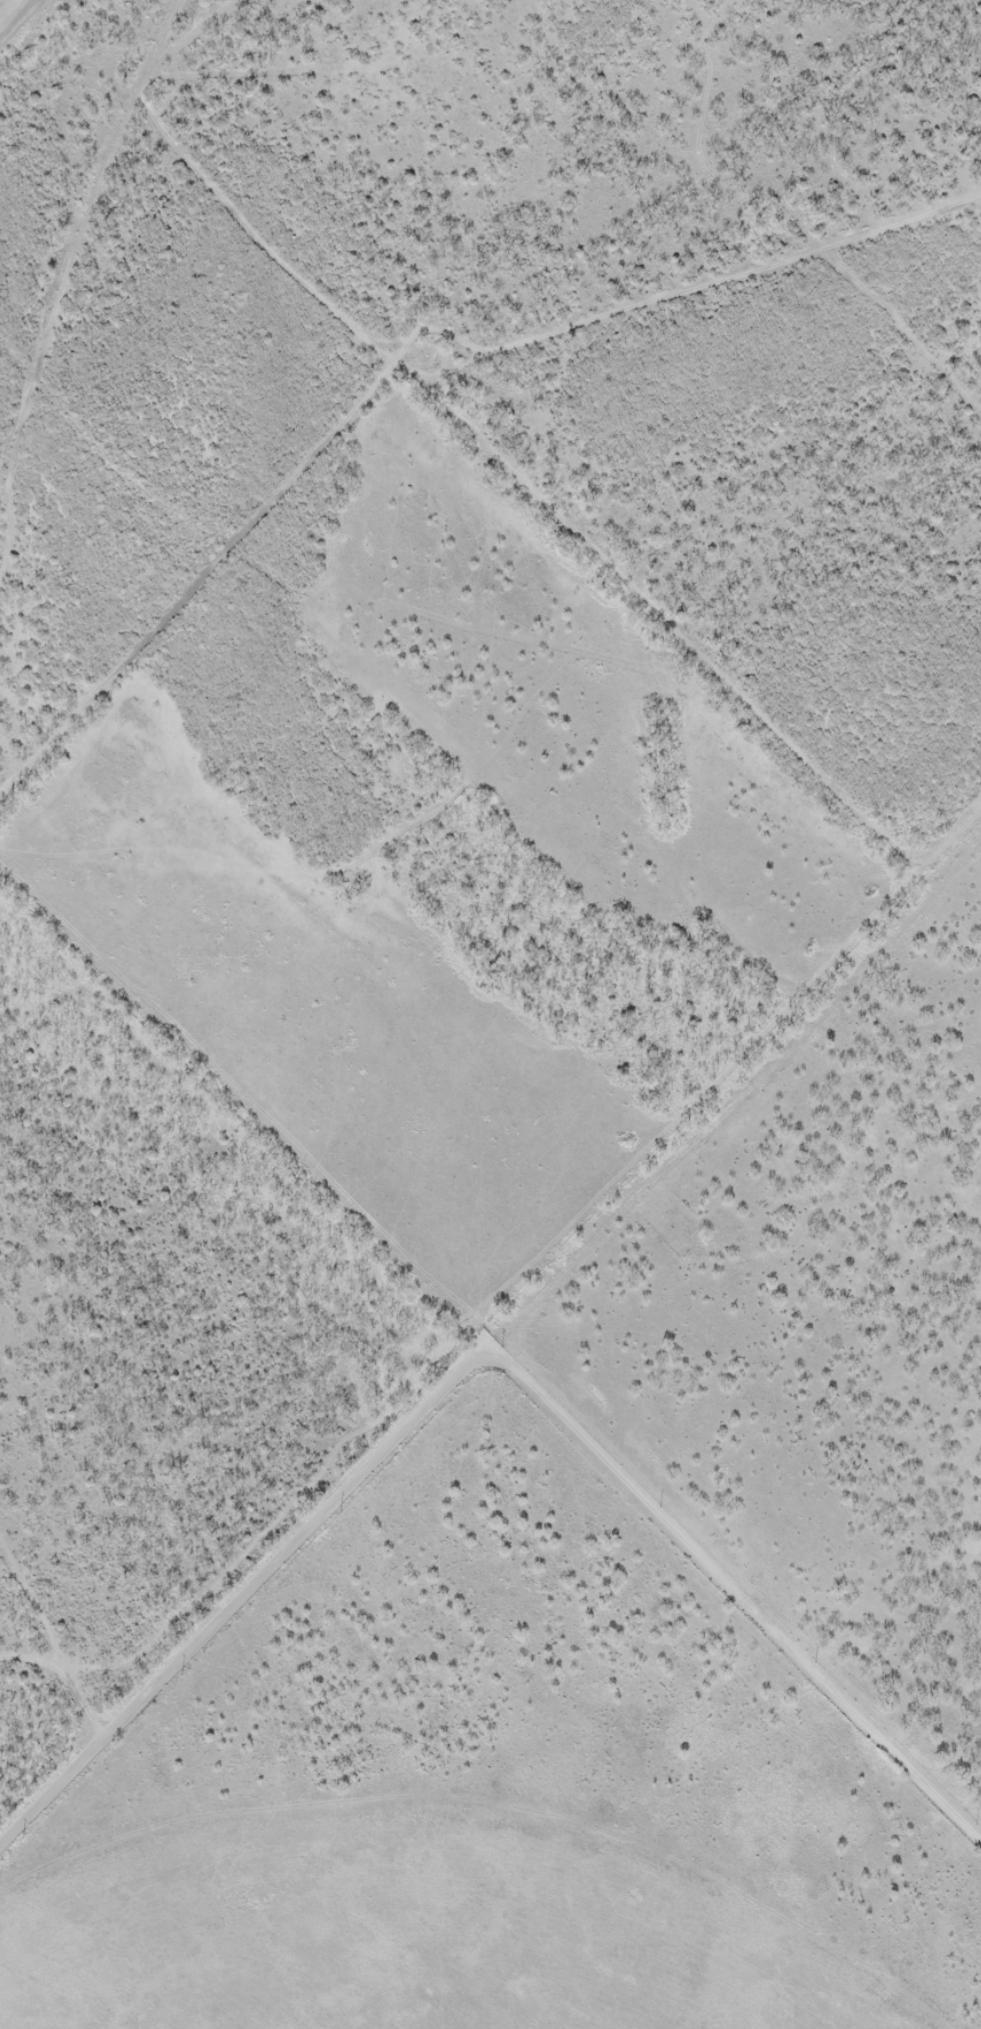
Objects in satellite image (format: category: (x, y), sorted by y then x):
road: (7, 8)
road: (57, 248)
road: (735, 1124)
road: (511, 1372)
road: (49, 1764)

